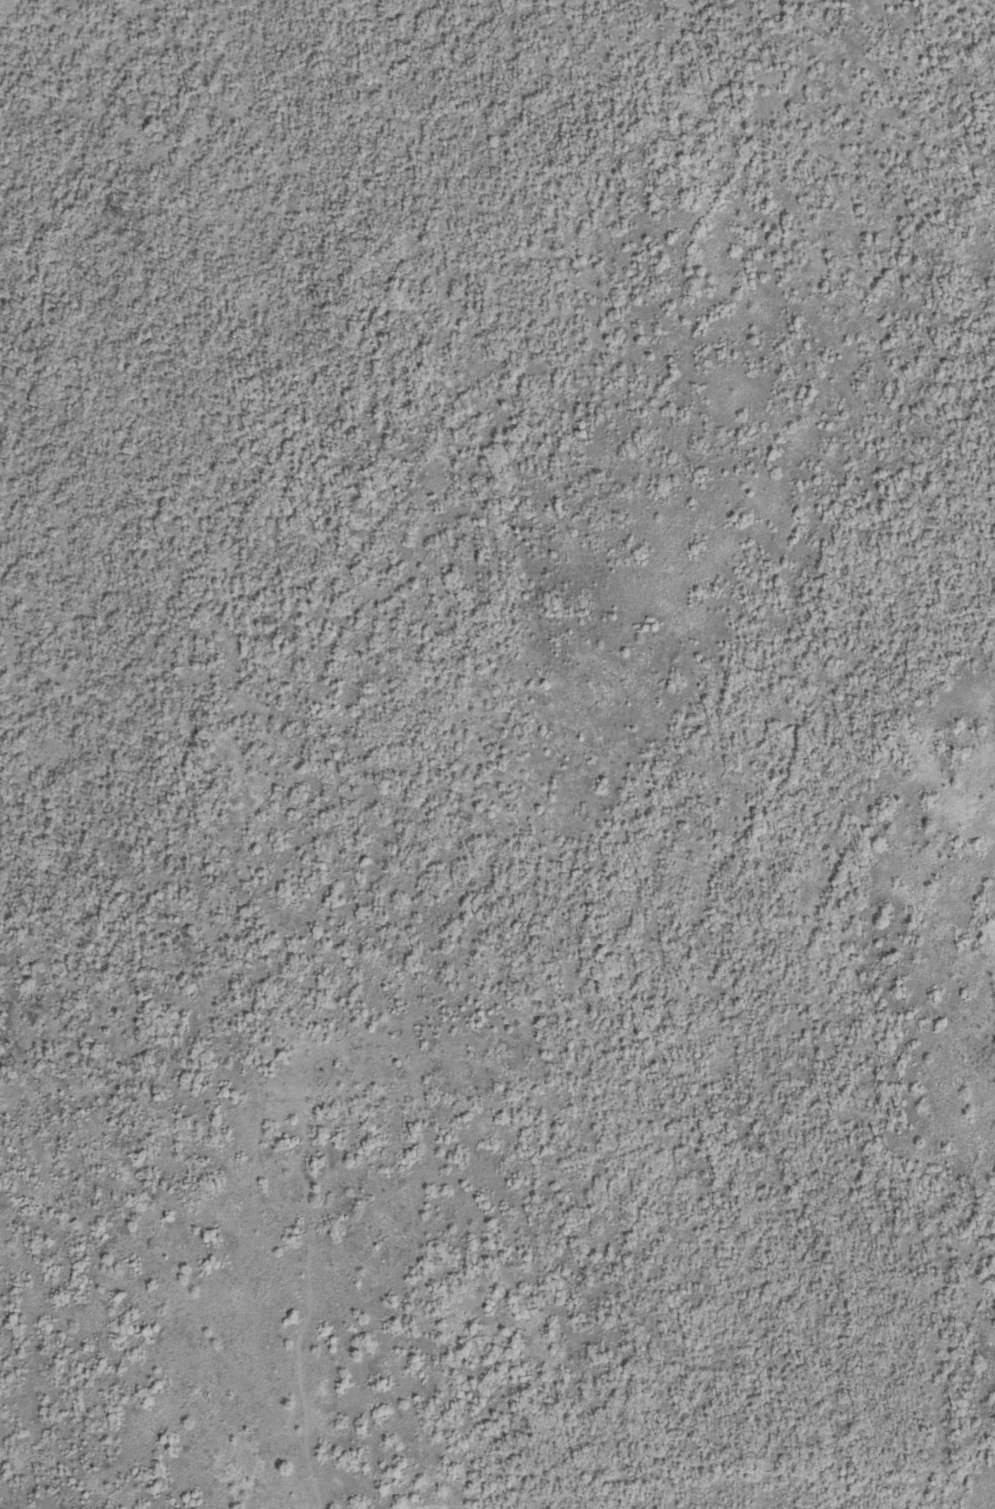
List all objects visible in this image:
road: (945, 1068)

